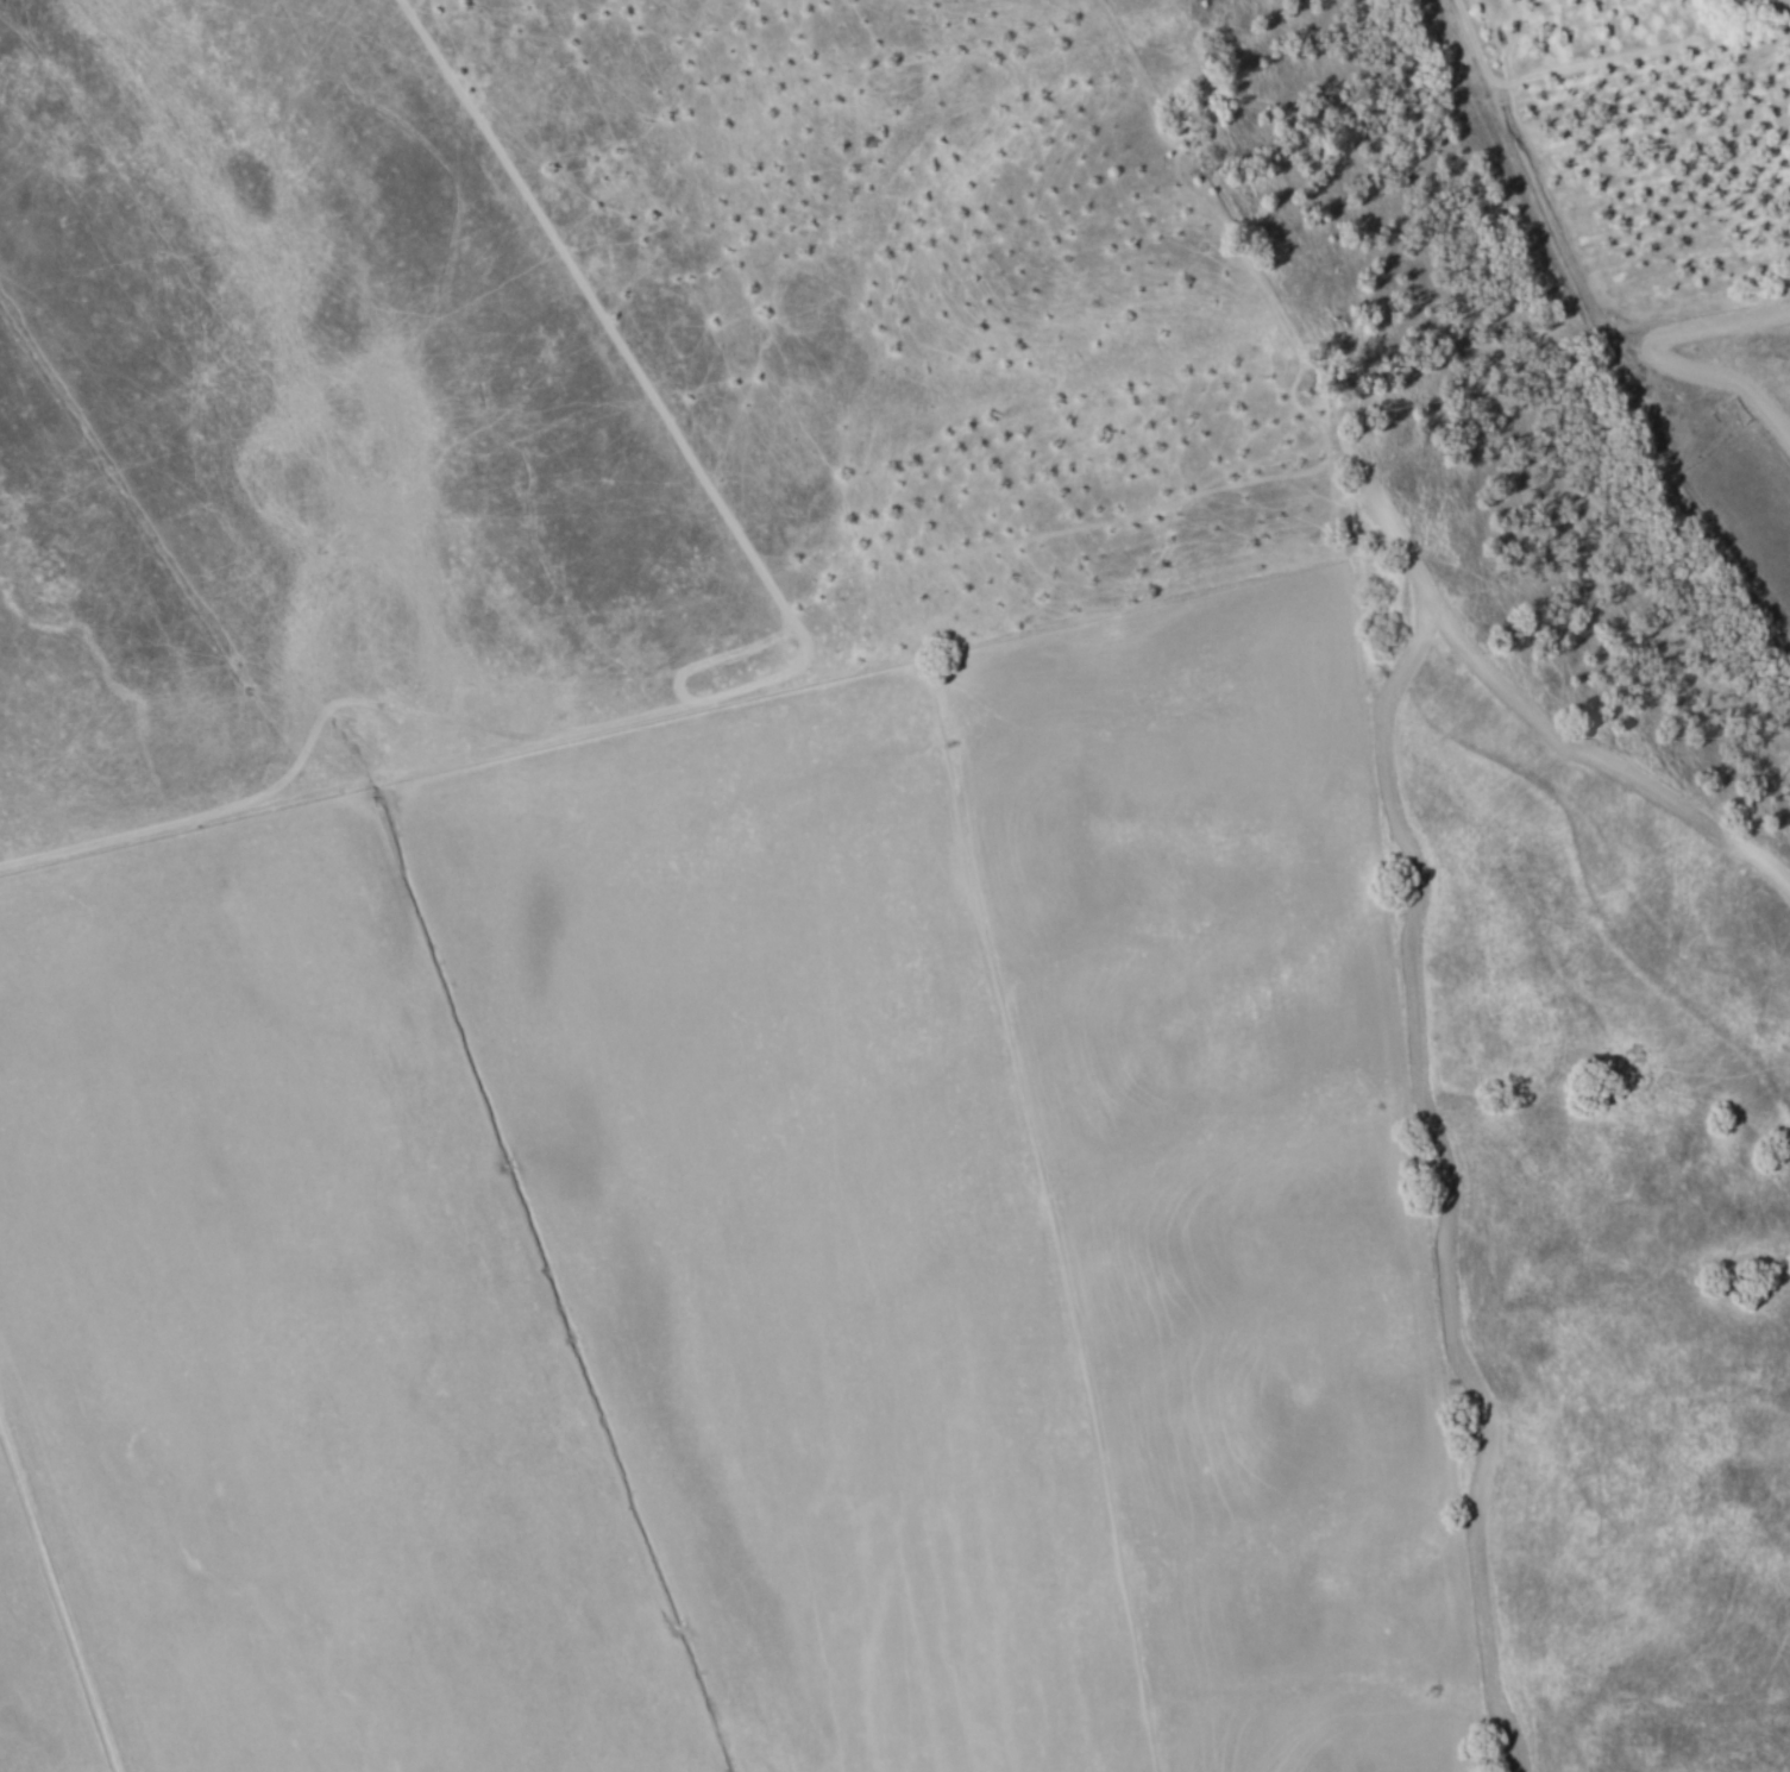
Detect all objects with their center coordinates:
building: (1734, 1)

